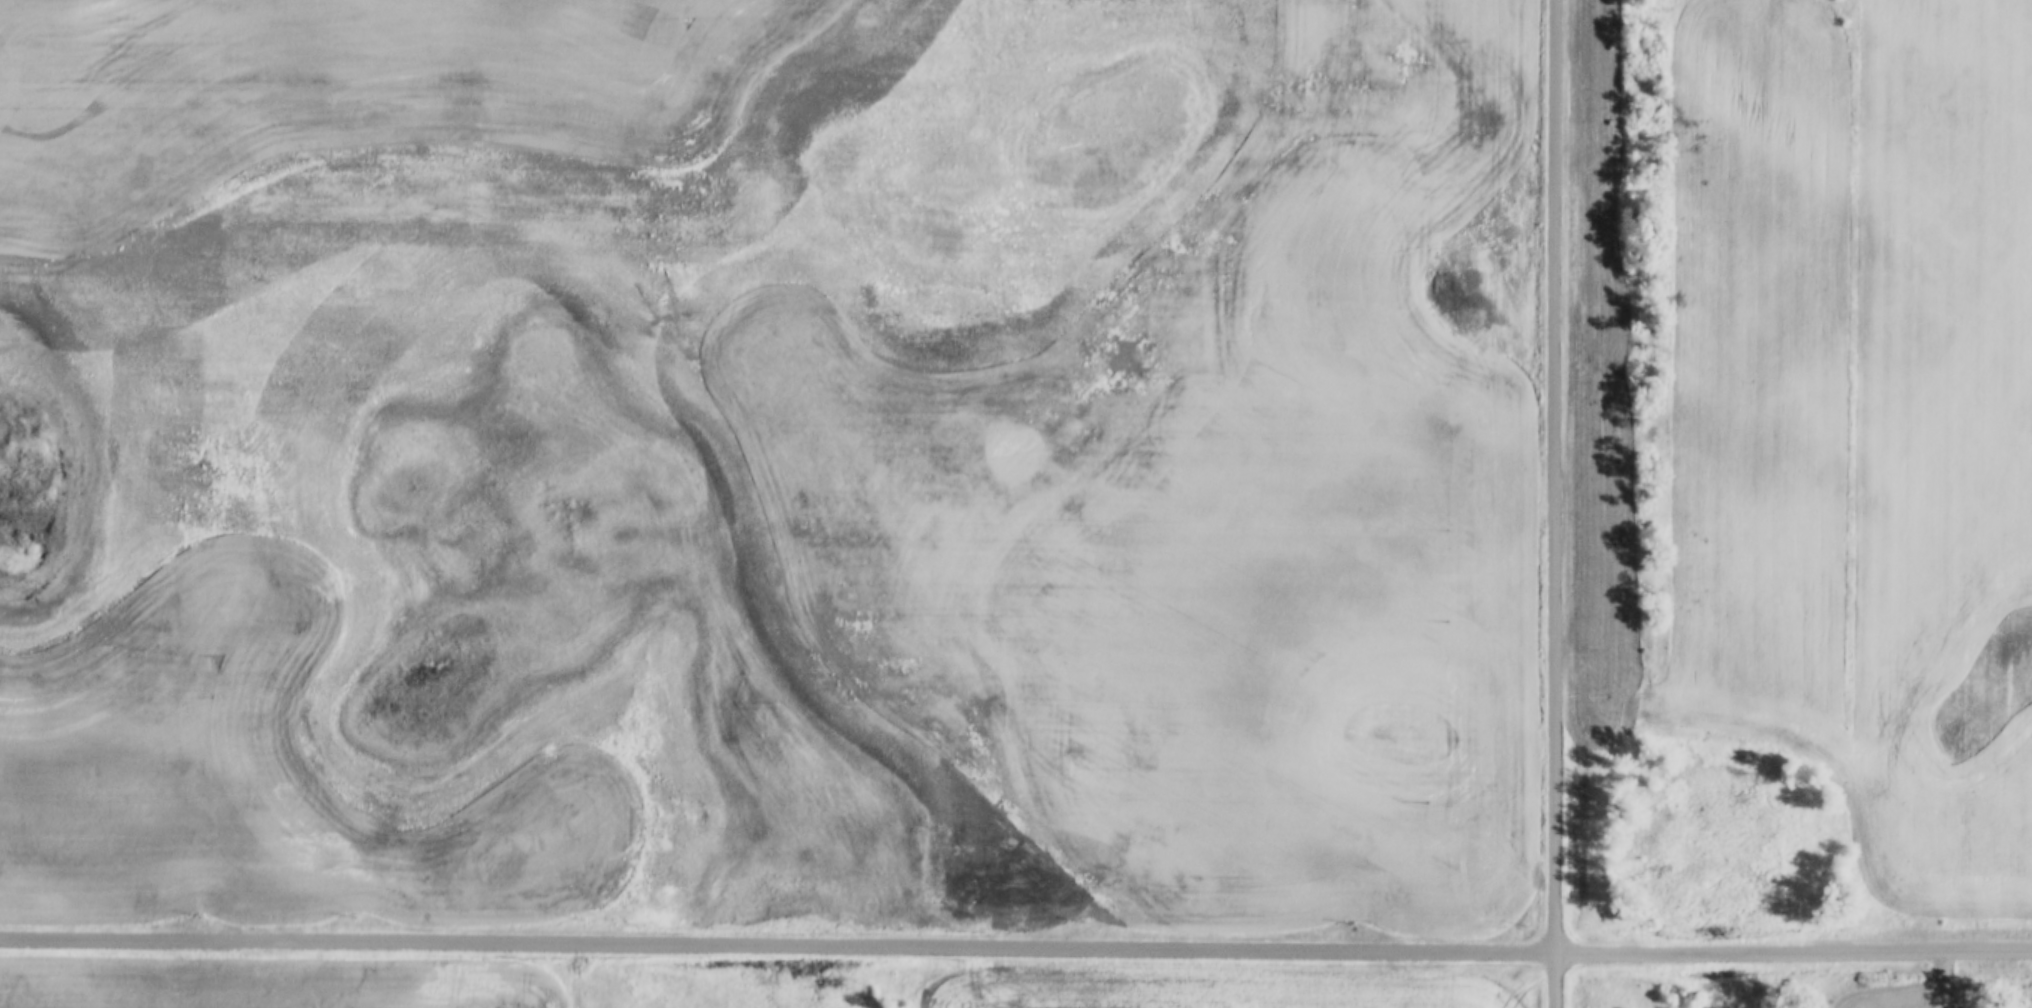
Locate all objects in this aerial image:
road: (1559, 504)
road: (779, 946)
road: (1795, 949)
road: (1944, 978)

